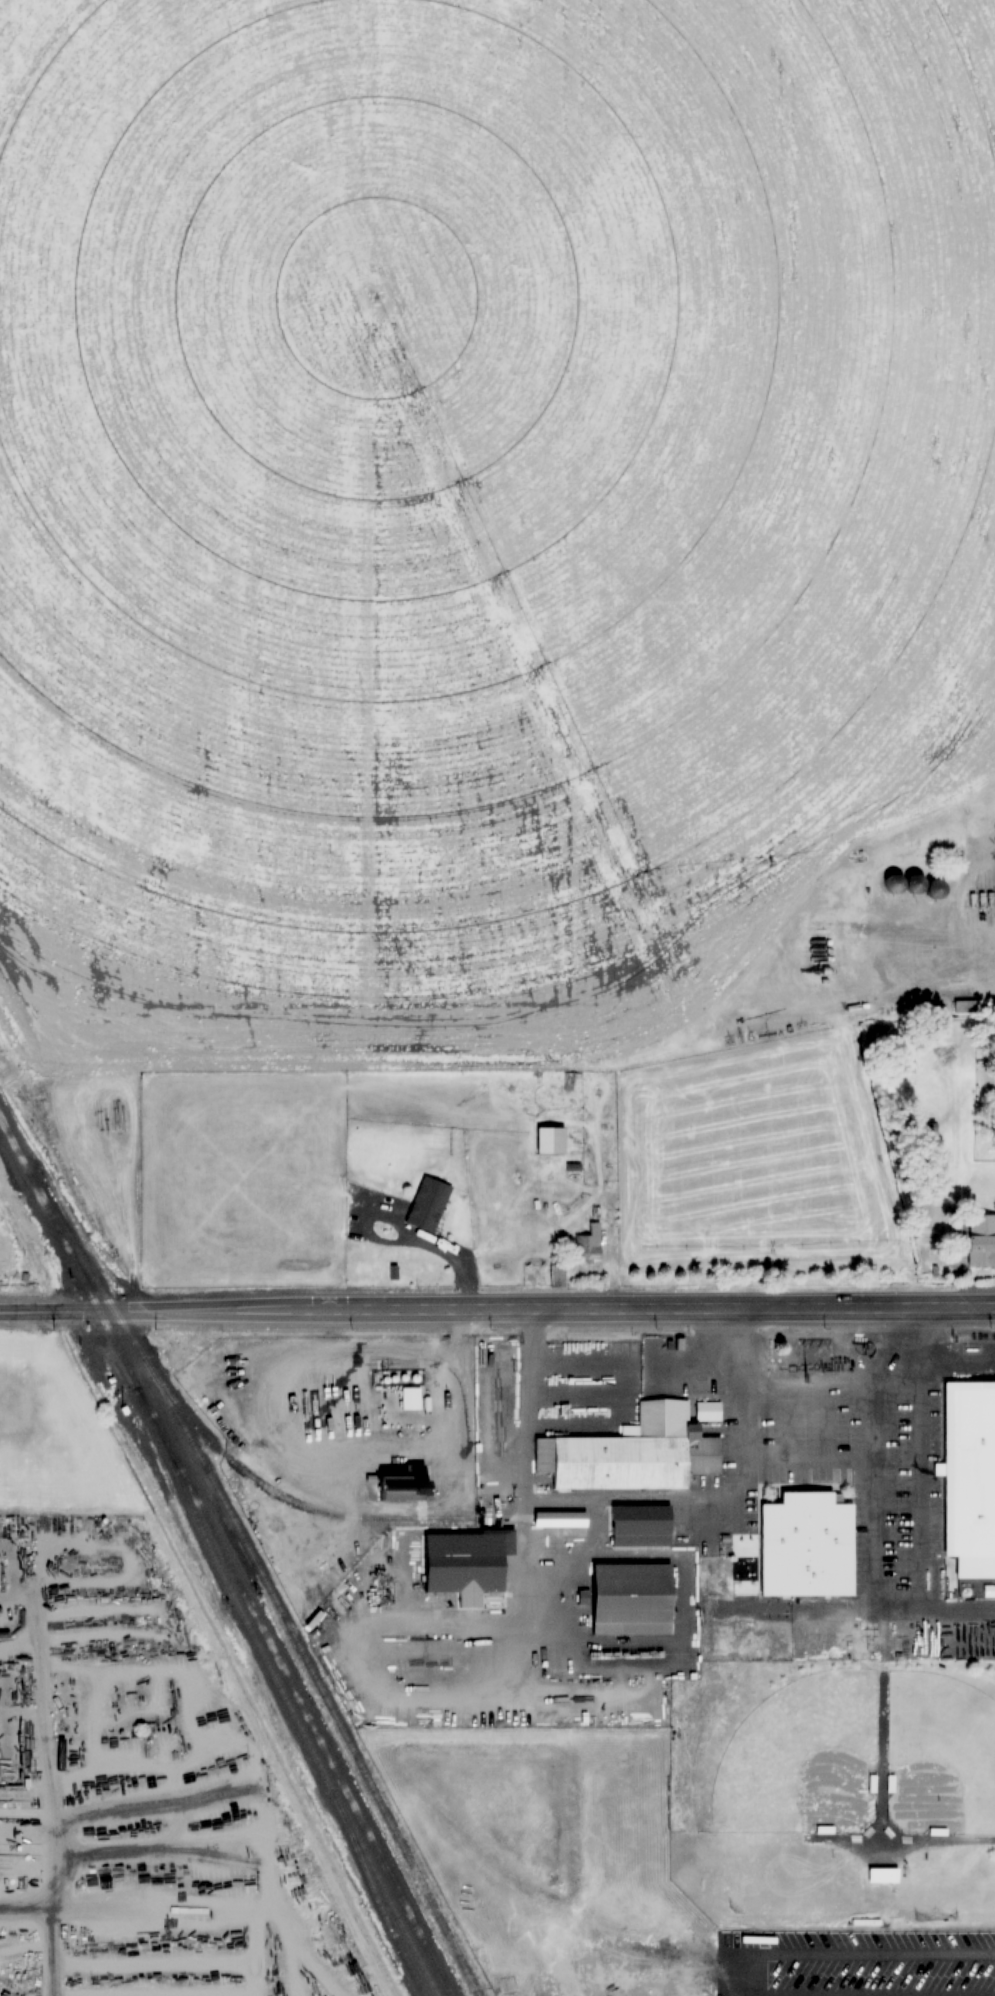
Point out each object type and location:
building: (907, 883)
building: (551, 1140)
building: (428, 1204)
building: (982, 1241)
building: (589, 1243)
railway: (76, 1267)
road: (497, 1306)
building: (635, 1446)
railway: (226, 1457)
building: (973, 1469)
building: (407, 1484)
building: (561, 1519)
building: (640, 1524)
building: (806, 1549)
building: (470, 1559)
building: (633, 1598)
railway: (320, 1693)
railway: (301, 1706)
railway: (288, 1709)
park: (939, 1755)
park: (801, 1760)
building: (823, 1829)
railway: (383, 1914)

